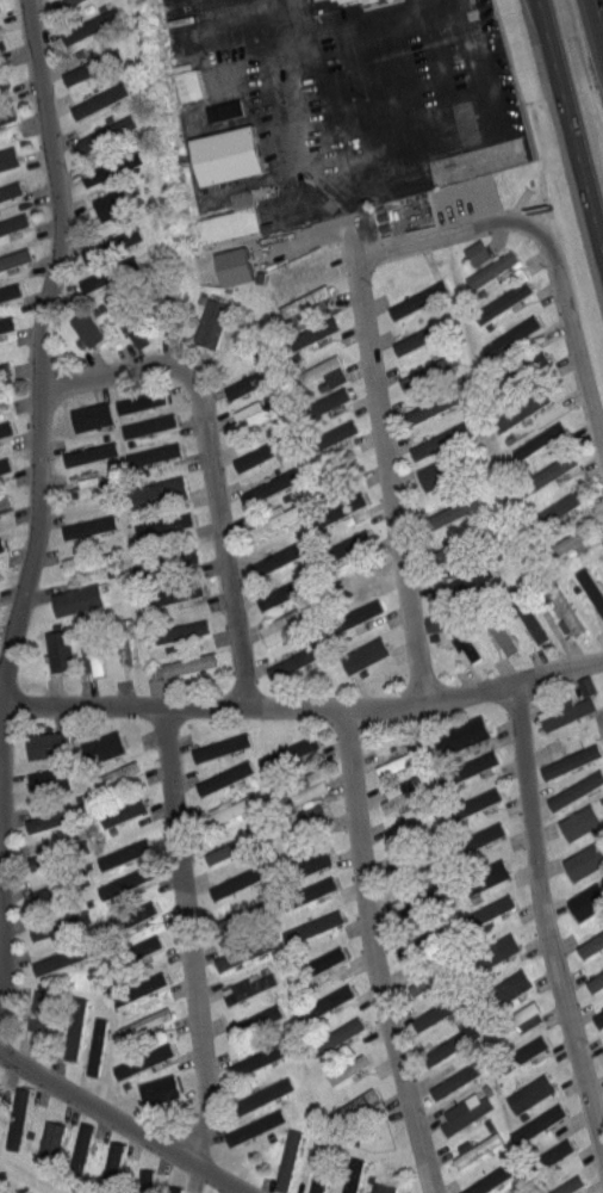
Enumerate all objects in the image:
building: (363, 0)
building: (318, 1)
building: (63, 2)
road: (598, 16)
building: (92, 24)
road: (602, 26)
building: (1, 43)
building: (1, 47)
building: (92, 60)
building: (4, 78)
road: (515, 79)
building: (184, 80)
road: (290, 80)
building: (100, 99)
building: (222, 107)
building: (8, 115)
road: (570, 128)
building: (107, 131)
building: (222, 153)
building: (10, 156)
building: (112, 167)
building: (13, 188)
building: (114, 200)
building: (228, 218)
building: (14, 222)
road: (459, 233)
building: (120, 235)
building: (474, 251)
building: (15, 256)
building: (229, 264)
building: (297, 267)
building: (493, 268)
building: (110, 276)
building: (10, 292)
building: (411, 297)
building: (504, 298)
building: (305, 299)
building: (211, 322)
building: (5, 323)
building: (88, 328)
building: (131, 329)
building: (311, 333)
building: (424, 334)
building: (514, 335)
road: (576, 356)
building: (8, 360)
building: (318, 369)
building: (4, 370)
road: (112, 370)
building: (522, 370)
building: (425, 372)
building: (332, 375)
building: (251, 381)
building: (4, 392)
building: (1, 398)
building: (328, 398)
building: (144, 400)
building: (436, 407)
building: (518, 409)
building: (88, 414)
building: (255, 418)
building: (147, 424)
building: (5, 427)
building: (332, 434)
road: (38, 438)
building: (540, 439)
building: (442, 440)
building: (93, 451)
building: (150, 452)
building: (255, 452)
building: (4, 464)
building: (441, 470)
building: (335, 472)
building: (548, 472)
road: (390, 477)
building: (94, 488)
building: (160, 492)
building: (5, 500)
building: (340, 506)
building: (450, 507)
building: (554, 509)
building: (273, 523)
building: (167, 524)
building: (86, 525)
road: (224, 533)
building: (4, 537)
building: (344, 544)
building: (459, 544)
building: (0, 545)
building: (561, 546)
building: (186, 556)
building: (276, 556)
building: (86, 563)
building: (354, 577)
building: (455, 581)
building: (174, 592)
building: (593, 592)
building: (284, 593)
building: (77, 596)
building: (566, 610)
building: (355, 613)
building: (527, 617)
building: (288, 628)
building: (176, 630)
building: (466, 632)
building: (449, 635)
building: (499, 635)
building: (128, 639)
building: (95, 647)
building: (61, 649)
building: (366, 653)
building: (89, 654)
building: (189, 663)
building: (294, 663)
road: (558, 673)
building: (584, 684)
road: (259, 703)
building: (568, 715)
building: (461, 735)
building: (50, 742)
building: (300, 744)
building: (100, 746)
building: (218, 746)
building: (576, 756)
building: (403, 761)
building: (471, 767)
building: (114, 773)
building: (45, 775)
building: (224, 775)
building: (54, 783)
building: (299, 787)
building: (573, 789)
building: (408, 796)
building: (472, 802)
building: (122, 808)
building: (231, 808)
building: (56, 815)
building: (305, 818)
building: (582, 822)
building: (410, 830)
building: (483, 834)
building: (125, 842)
building: (237, 845)
building: (58, 851)
building: (122, 852)
building: (311, 858)
building: (585, 860)
building: (417, 865)
building: (240, 873)
building: (486, 874)
building: (125, 882)
building: (60, 888)
building: (305, 891)
building: (588, 901)
building: (418, 903)
building: (485, 911)
road: (542, 914)
building: (241, 919)
building: (133, 921)
building: (60, 925)
building: (315, 925)
road: (182, 935)
building: (144, 945)
building: (592, 946)
building: (496, 948)
building: (243, 953)
road: (374, 954)
building: (63, 956)
building: (319, 963)
building: (437, 977)
building: (418, 981)
building: (595, 982)
building: (509, 984)
building: (253, 987)
building: (138, 988)
building: (328, 999)
building: (440, 1008)
building: (42, 1010)
building: (266, 1015)
building: (601, 1015)
building: (516, 1018)
building: (145, 1021)
building: (76, 1027)
building: (336, 1034)
building: (454, 1043)
building: (94, 1045)
building: (602, 1051)
building: (262, 1057)
building: (148, 1059)
building: (348, 1068)
building: (459, 1076)
building: (531, 1092)
building: (261, 1094)
building: (353, 1105)
building: (466, 1115)
building: (19, 1120)
road: (125, 1121)
building: (541, 1121)
building: (253, 1126)
building: (259, 1132)
building: (54, 1142)
building: (77, 1148)
building: (477, 1149)
building: (111, 1155)
building: (553, 1155)
building: (285, 1158)
building: (321, 1168)
building: (143, 1175)
building: (354, 1176)
building: (486, 1179)
building: (568, 1183)
building: (383, 1187)
building: (175, 1189)
building: (24, 1191)

